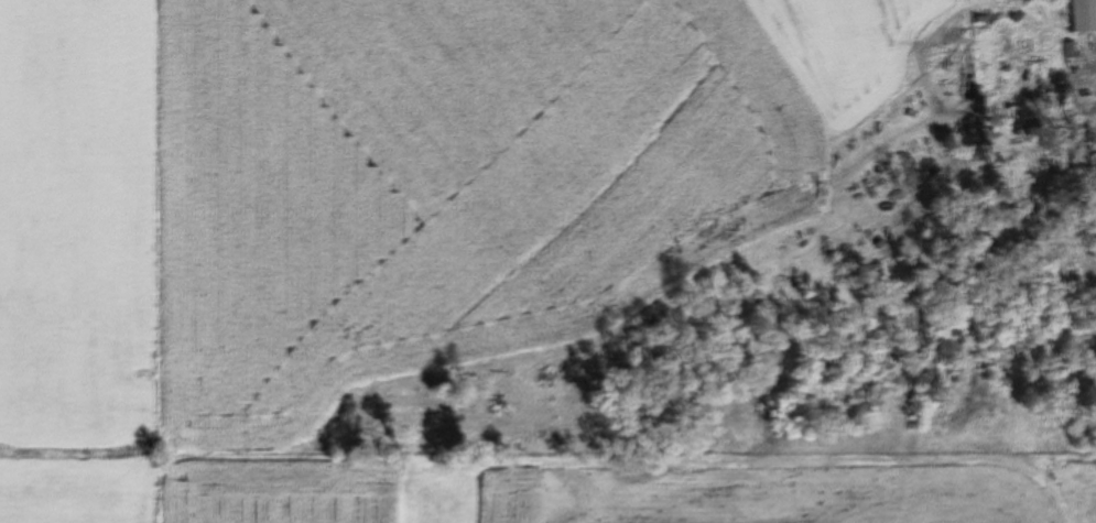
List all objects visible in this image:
building: (1084, 15)

